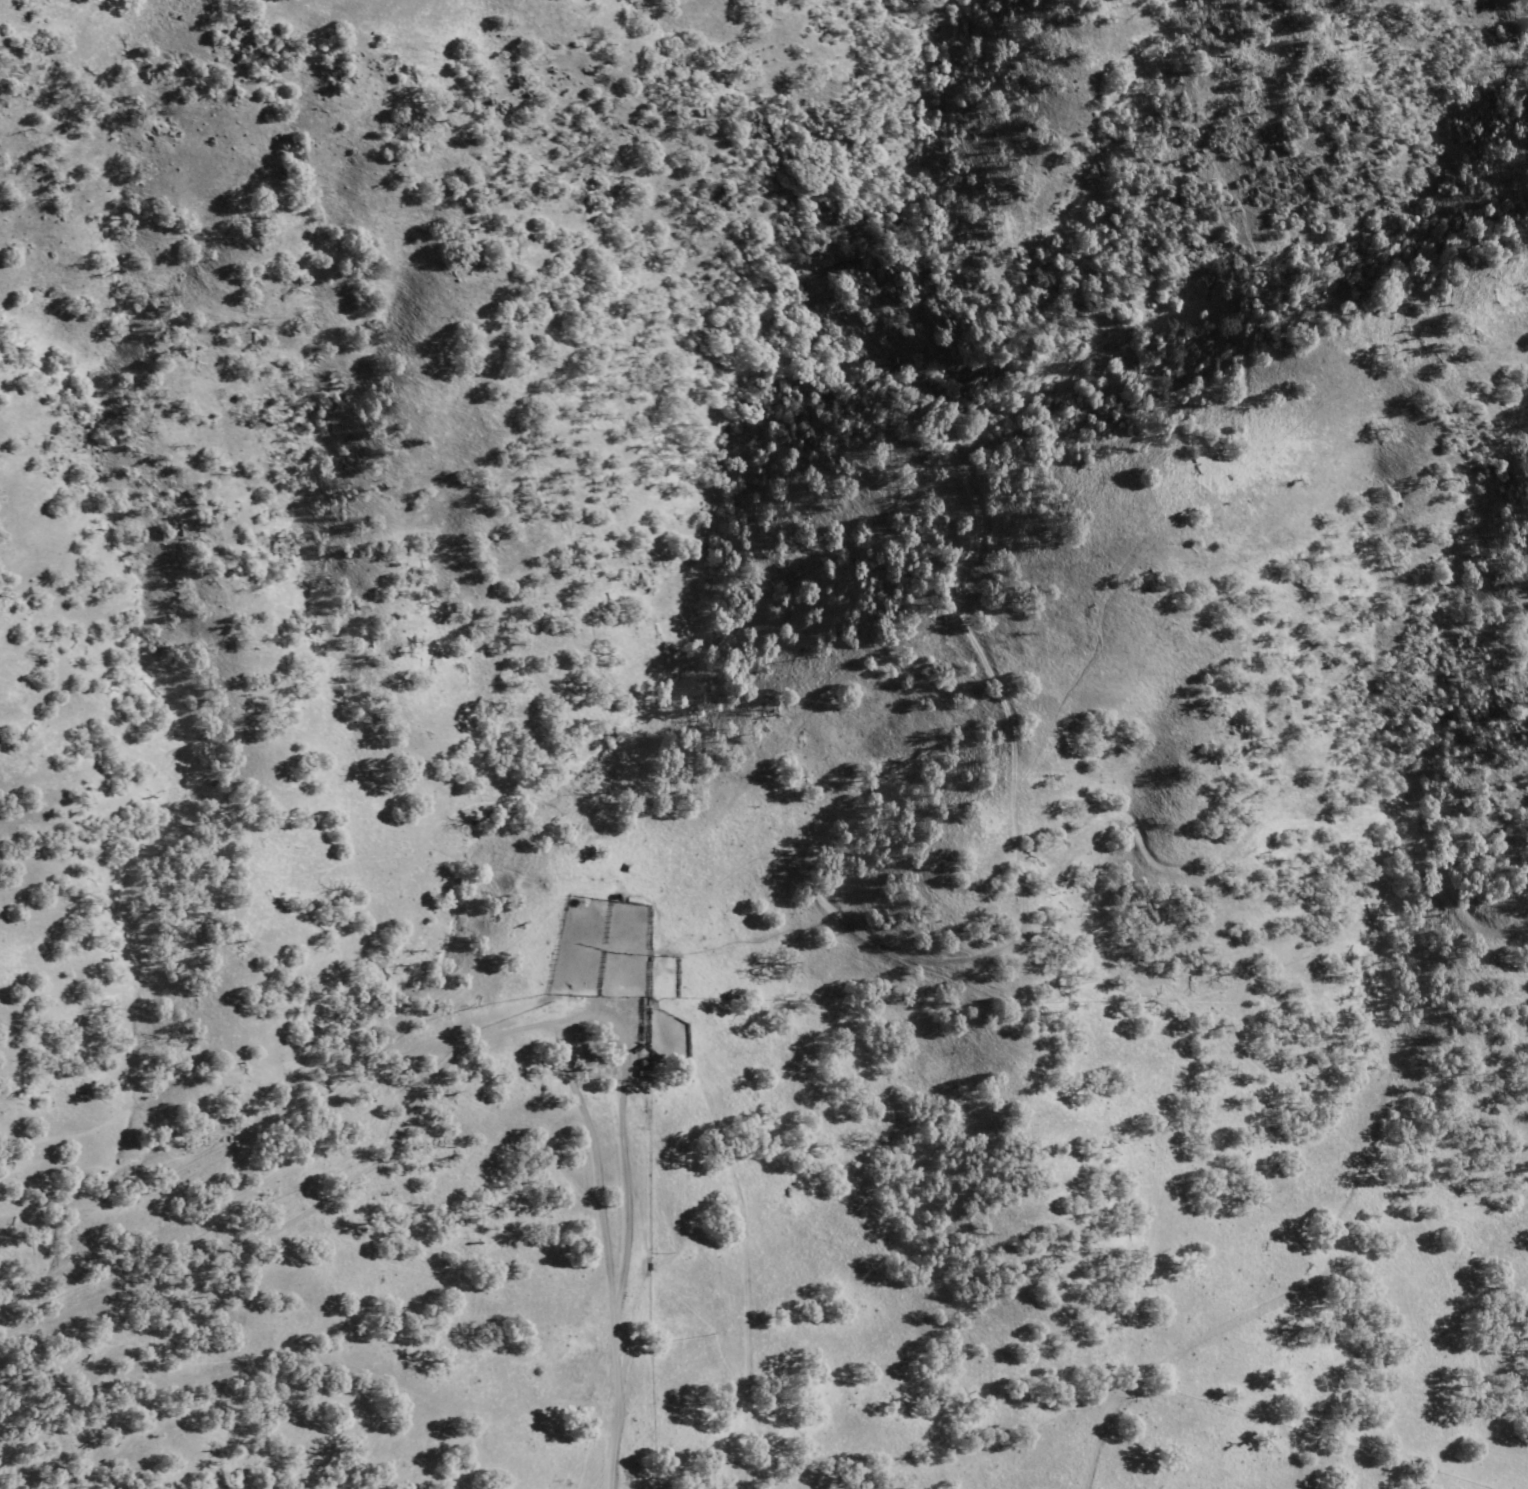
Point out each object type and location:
road: (638, 1256)

